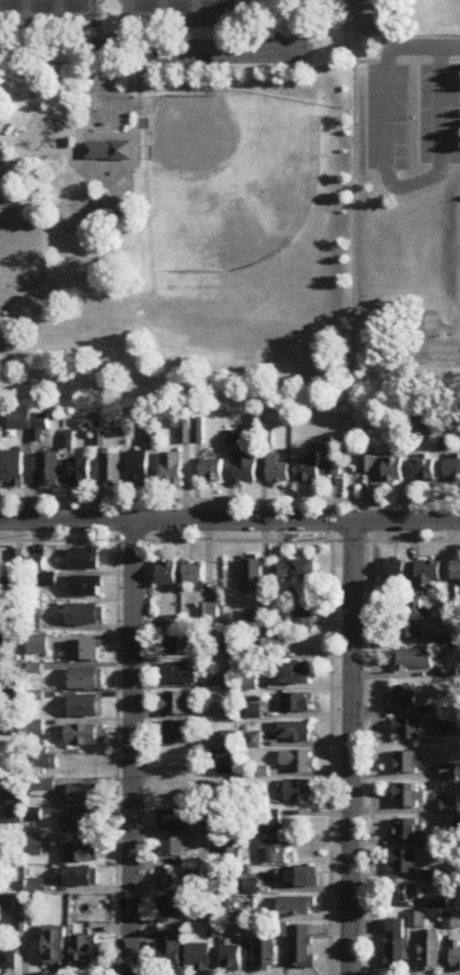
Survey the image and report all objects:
park: (11, 6)
park: (43, 6)
park: (75, 6)
park: (146, 7)
park: (179, 7)
park: (212, 7)
building: (249, 14)
road: (150, 46)
road: (449, 46)
road: (69, 61)
road: (353, 64)
road: (268, 67)
parking lot: (439, 113)
parking lot: (387, 116)
road: (100, 135)
road: (73, 149)
road: (137, 150)
building: (109, 151)
park: (230, 179)
road: (388, 179)
park: (202, 194)
road: (352, 266)
building: (183, 420)
building: (31, 424)
building: (200, 431)
building: (245, 467)
building: (139, 468)
building: (383, 468)
building: (13, 469)
building: (317, 469)
building: (112, 470)
building: (173, 470)
building: (212, 470)
building: (278, 470)
building: (50, 471)
building: (424, 471)
building: (452, 471)
building: (80, 473)
road: (229, 498)
road: (229, 522)
building: (85, 560)
building: (294, 570)
building: (395, 570)
building: (456, 571)
building: (194, 573)
building: (429, 573)
building: (167, 574)
building: (252, 575)
building: (12, 581)
building: (87, 588)
building: (303, 610)
building: (209, 611)
building: (85, 615)
building: (257, 619)
building: (173, 622)
building: (410, 630)
building: (229, 645)
building: (38, 646)
building: (181, 646)
building: (269, 647)
building: (84, 651)
building: (415, 660)
building: (181, 674)
building: (297, 675)
building: (86, 680)
building: (406, 696)
building: (296, 703)
building: (175, 704)
building: (86, 707)
building: (450, 724)
building: (407, 730)
building: (293, 732)
building: (173, 733)
building: (85, 735)
road: (134, 748)
road: (352, 749)
building: (225, 758)
building: (299, 761)
building: (45, 763)
building: (410, 763)
building: (450, 773)
building: (41, 786)
building: (299, 792)
building: (409, 797)
building: (15, 805)
building: (450, 806)
building: (175, 820)
building: (80, 821)
building: (273, 824)
building: (409, 831)
building: (175, 849)
building: (82, 853)
building: (275, 853)
building: (405, 866)
building: (82, 878)
building: (301, 879)
building: (174, 880)
building: (37, 887)
building: (406, 894)
building: (7, 903)
building: (231, 906)
building: (175, 907)
building: (297, 908)
building: (417, 921)
building: (395, 945)
building: (55, 946)
building: (302, 948)
building: (84, 951)
building: (430, 951)
building: (171, 955)
building: (265, 956)
building: (456, 956)
building: (199, 957)
building: (232, 960)
building: (8, 961)

